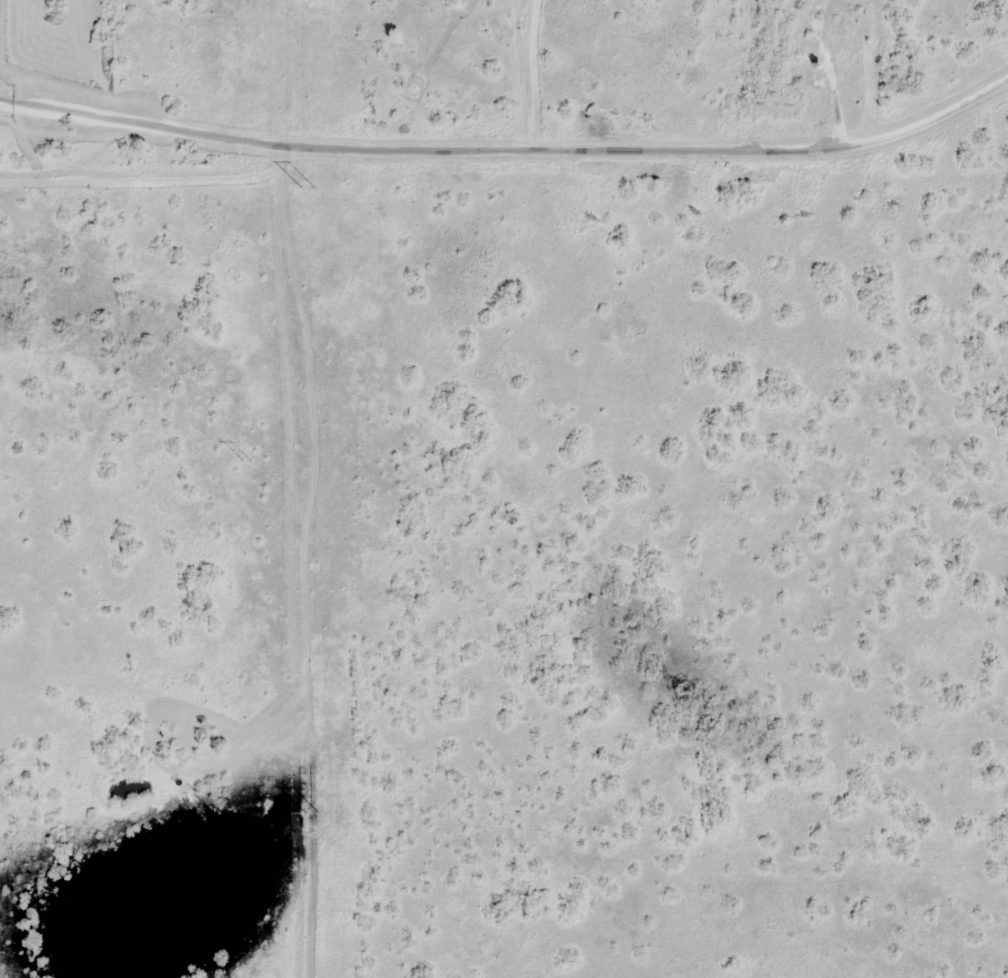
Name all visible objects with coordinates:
road: (510, 73)
road: (505, 147)
power tower: (306, 189)
power tower: (245, 462)
power tower: (312, 814)

